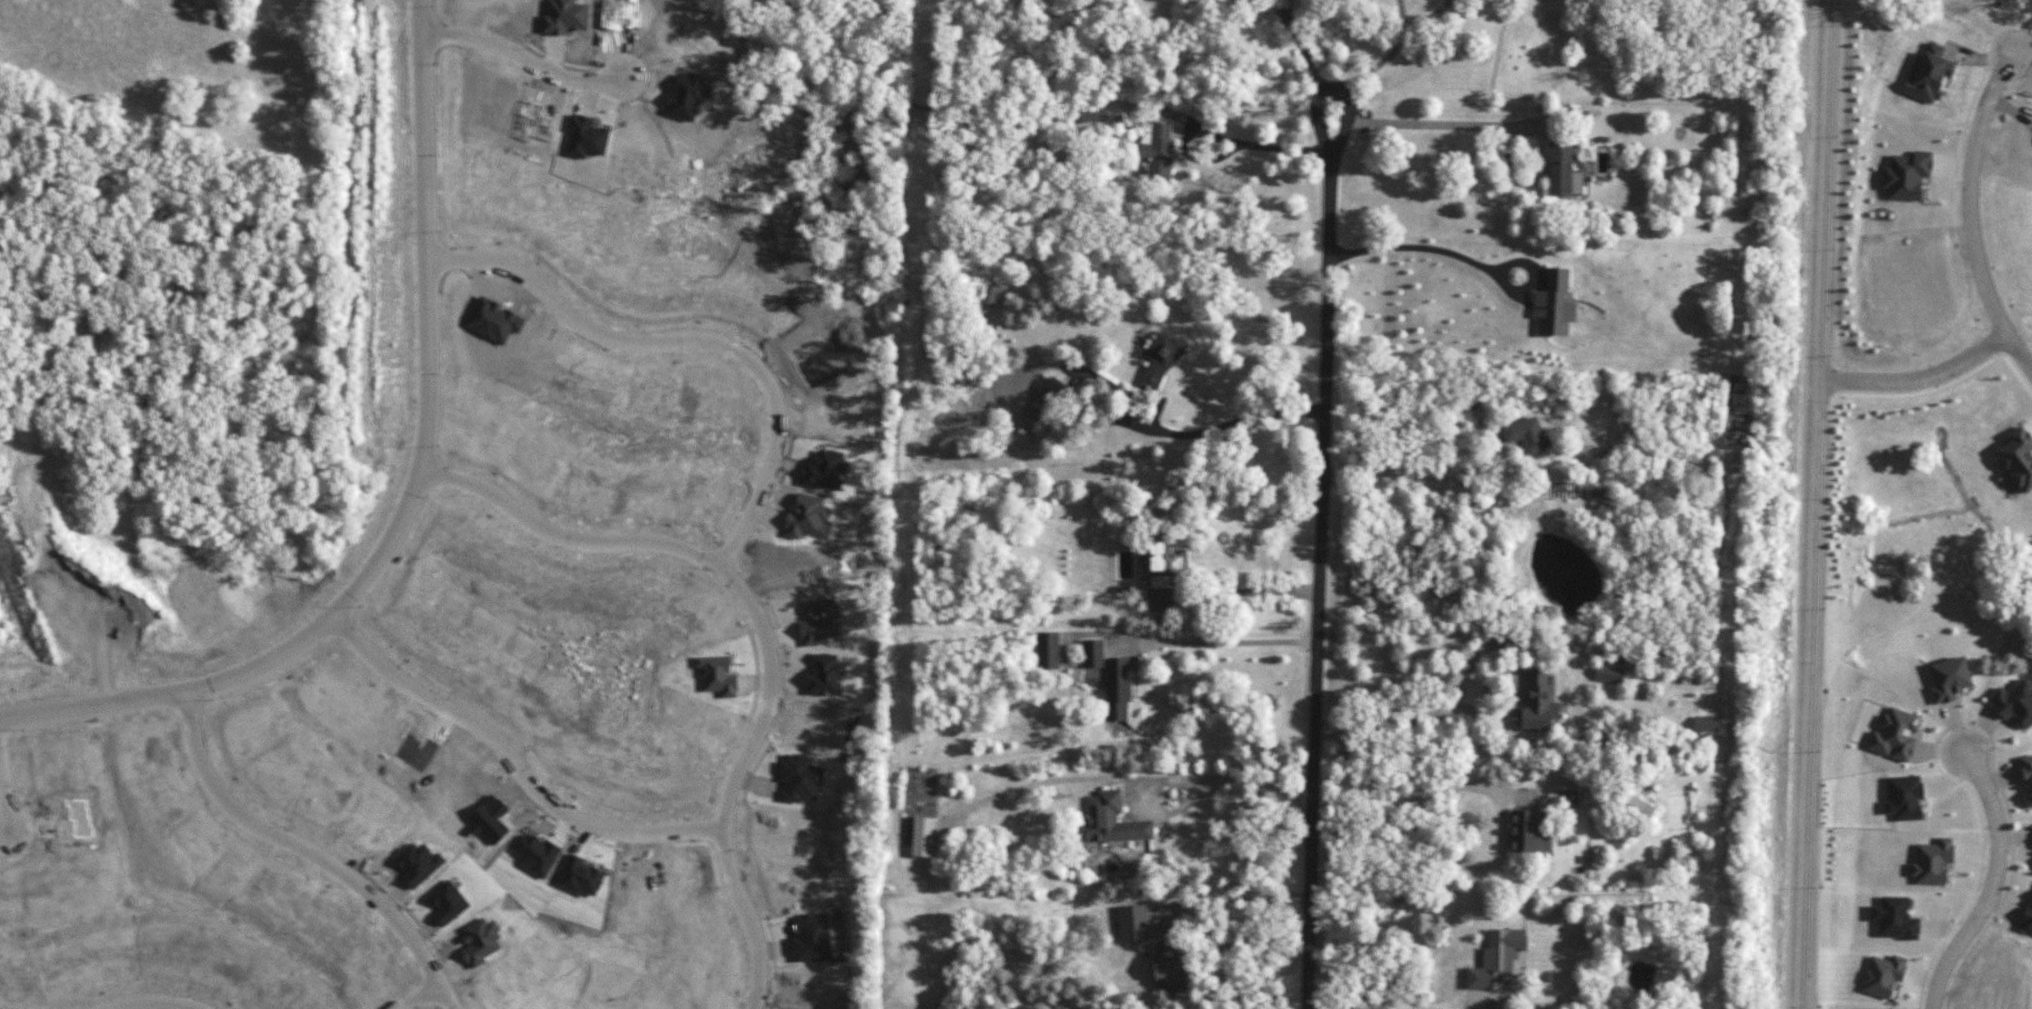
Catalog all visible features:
road: (1278, 9)
road: (1286, 9)
road: (1401, 18)
road: (1425, 20)
road: (2021, 34)
road: (1306, 55)
road: (524, 57)
road: (1374, 67)
road: (1330, 90)
building: (1092, 112)
road: (1437, 123)
road: (1220, 136)
building: (1157, 152)
building: (1563, 170)
road: (1969, 215)
road: (1464, 258)
building: (992, 294)
building: (1554, 303)
road: (690, 342)
building: (1161, 359)
road: (1915, 378)
building: (1058, 391)
building: (1041, 416)
road: (1172, 436)
building: (1526, 436)
building: (2018, 458)
road: (1464, 482)
building: (1597, 495)
road: (413, 497)
road: (1811, 504)
building: (1159, 567)
road: (1320, 580)
road: (1242, 592)
road: (761, 629)
road: (1227, 643)
building: (1048, 650)
building: (1093, 653)
building: (1609, 673)
road: (1467, 674)
building: (1948, 679)
building: (1117, 689)
building: (1538, 702)
building: (2014, 703)
building: (1706, 723)
building: (1895, 735)
road: (513, 762)
building: (2027, 770)
road: (1172, 778)
road: (1498, 795)
building: (1570, 796)
road: (5, 797)
building: (1904, 797)
building: (1637, 808)
building: (1110, 820)
building: (1526, 832)
building: (922, 836)
road: (308, 850)
building: (1932, 861)
road: (1991, 884)
road: (1227, 895)
building: (1895, 918)
building: (2026, 921)
building: (1132, 923)
building: (1497, 959)
building: (1168, 967)
building: (1883, 975)
road: (1356, 989)
road: (421, 998)
road: (150, 1004)

